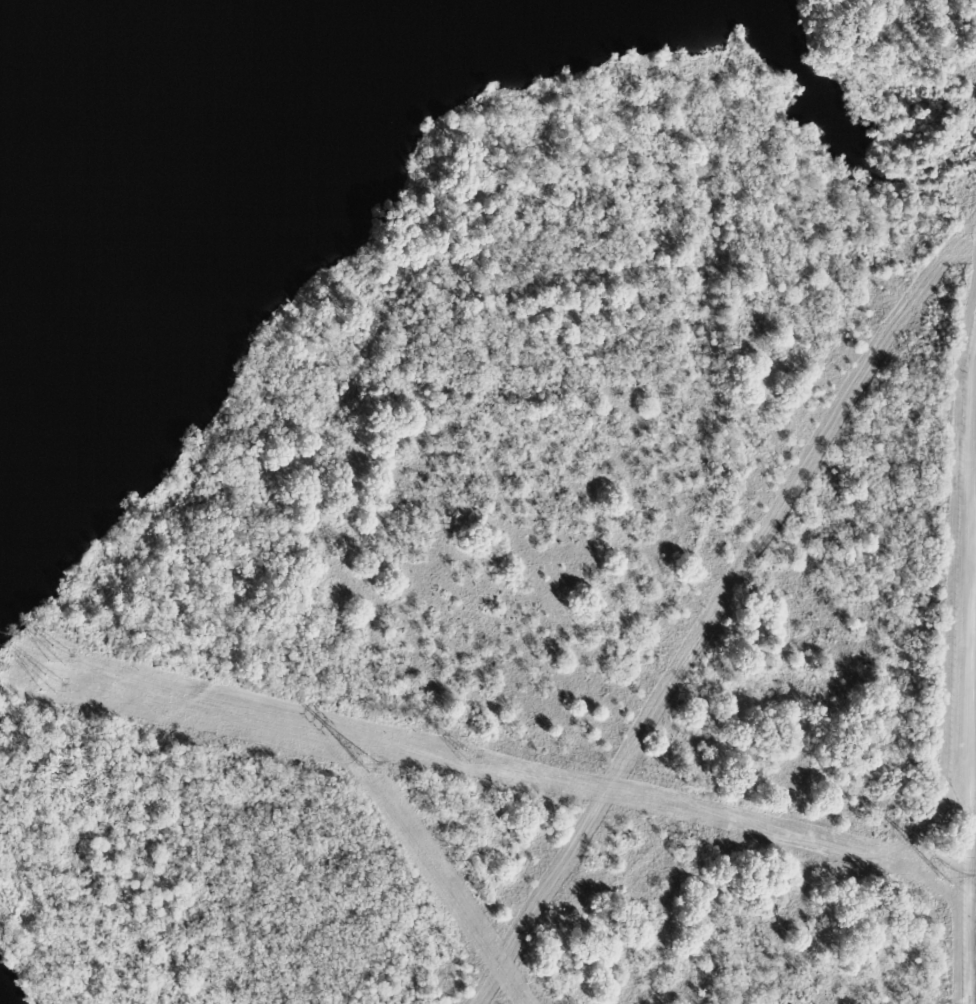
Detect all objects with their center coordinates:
power tower: (466, 758)
power tower: (362, 759)
power tower: (950, 877)

